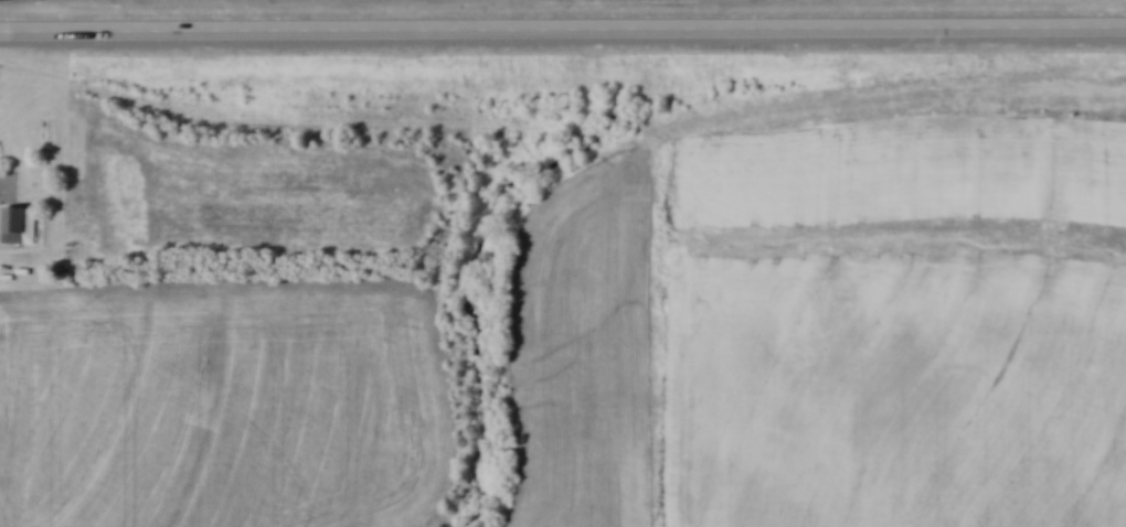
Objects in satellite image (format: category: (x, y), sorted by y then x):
road: (563, 35)
building: (19, 225)

